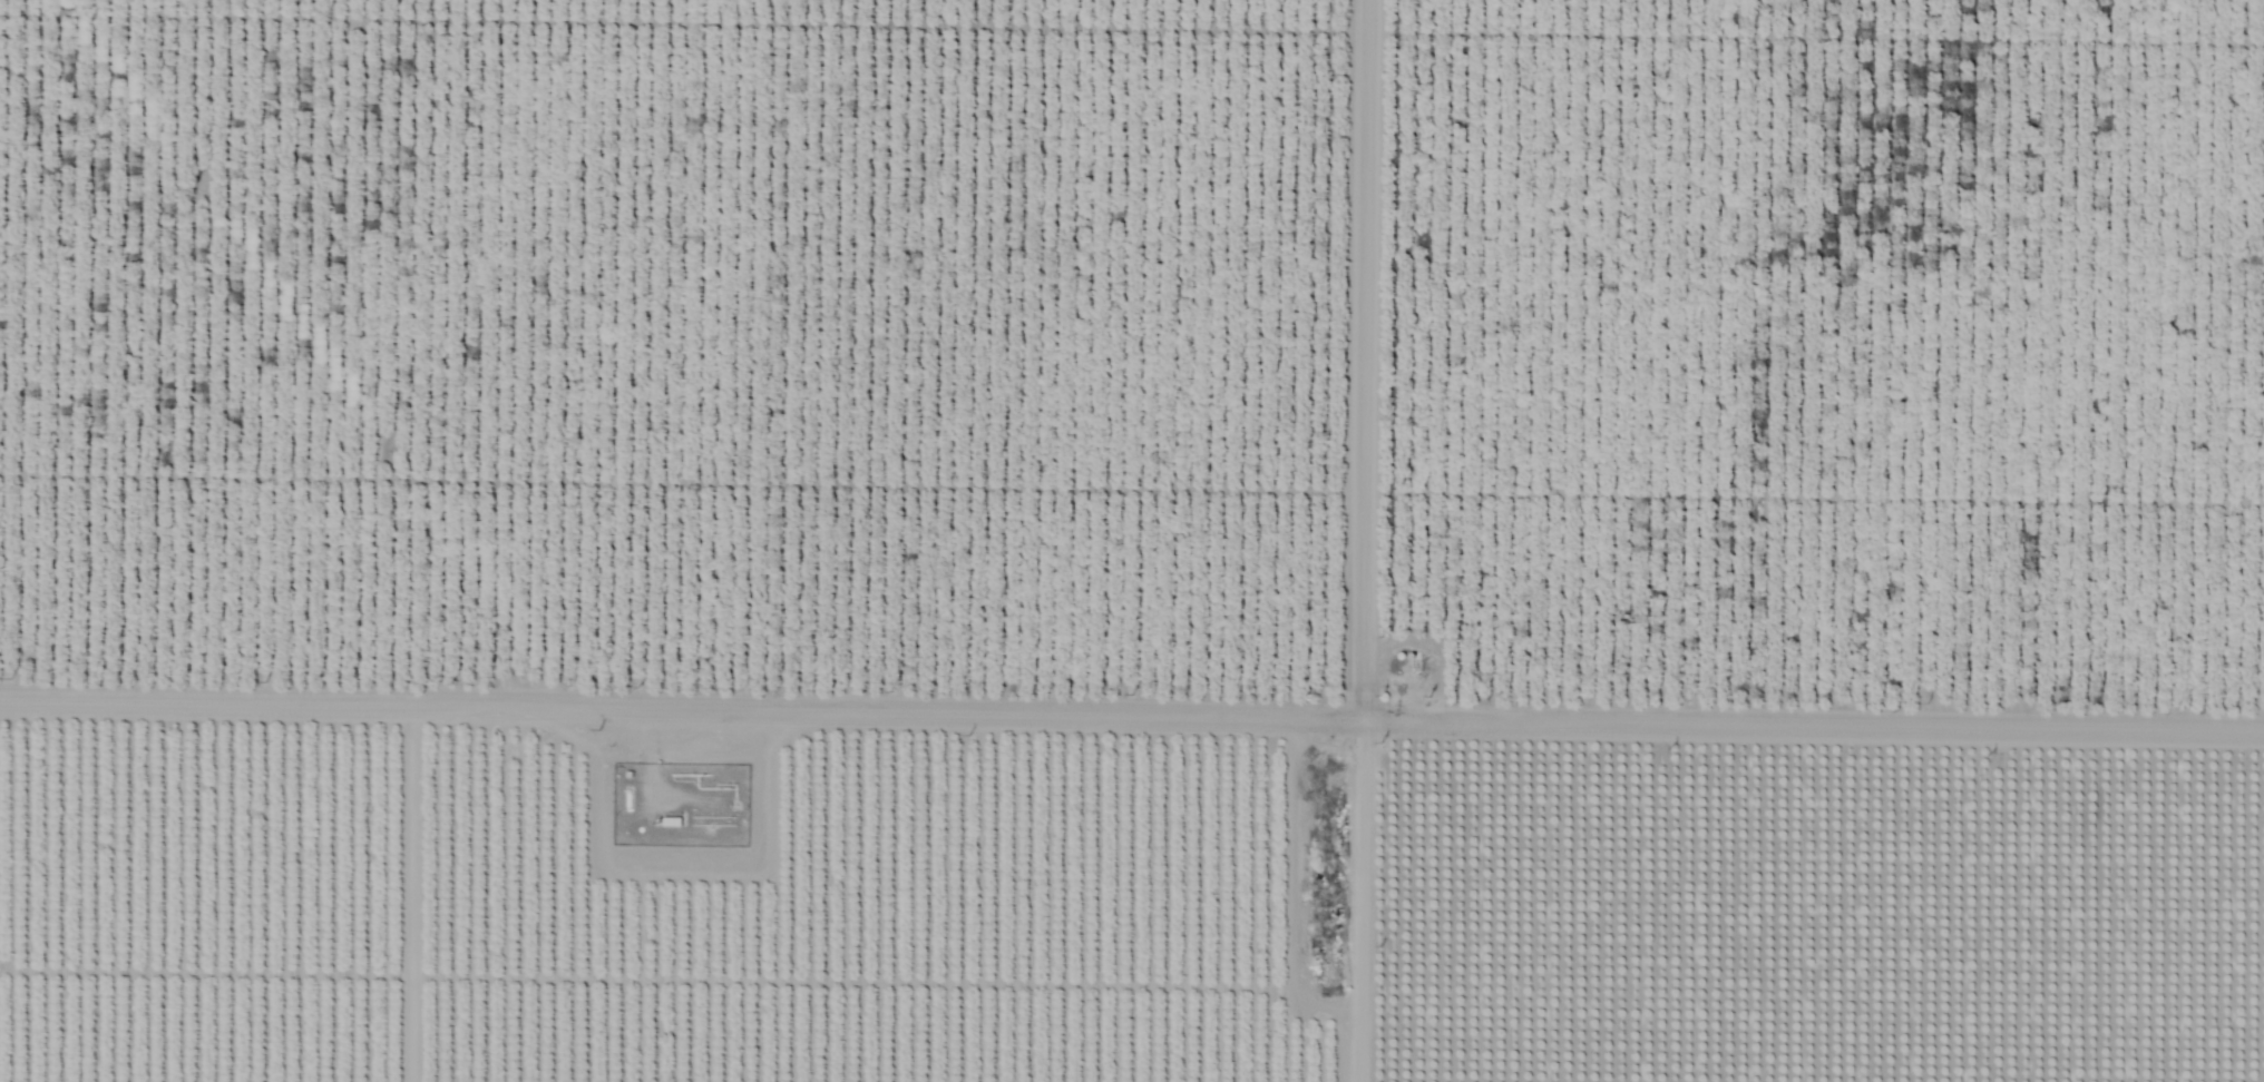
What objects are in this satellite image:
road: (216, 384)
road: (1392, 541)
road: (1131, 691)

